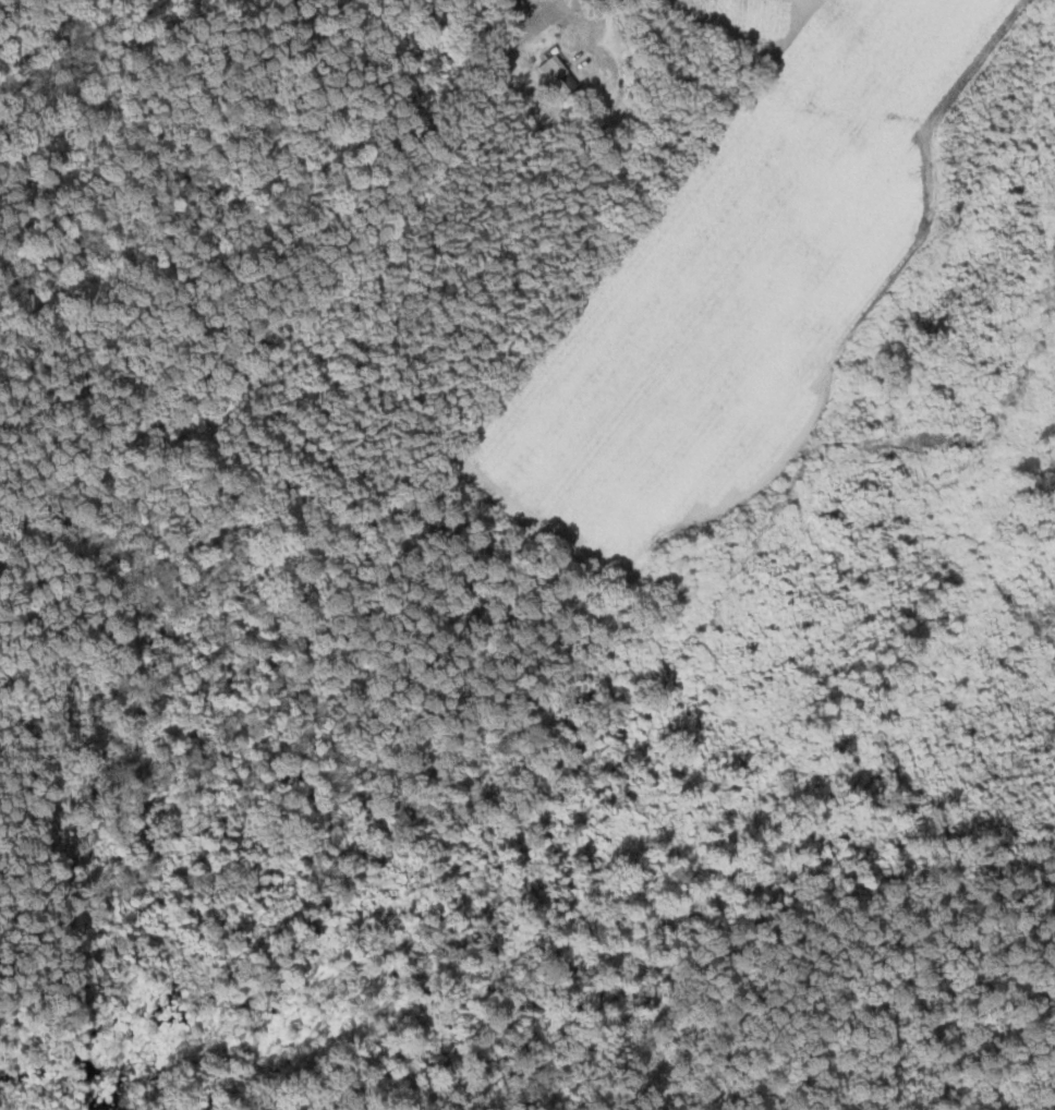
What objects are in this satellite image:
building: (514, 9)
building: (554, 73)

